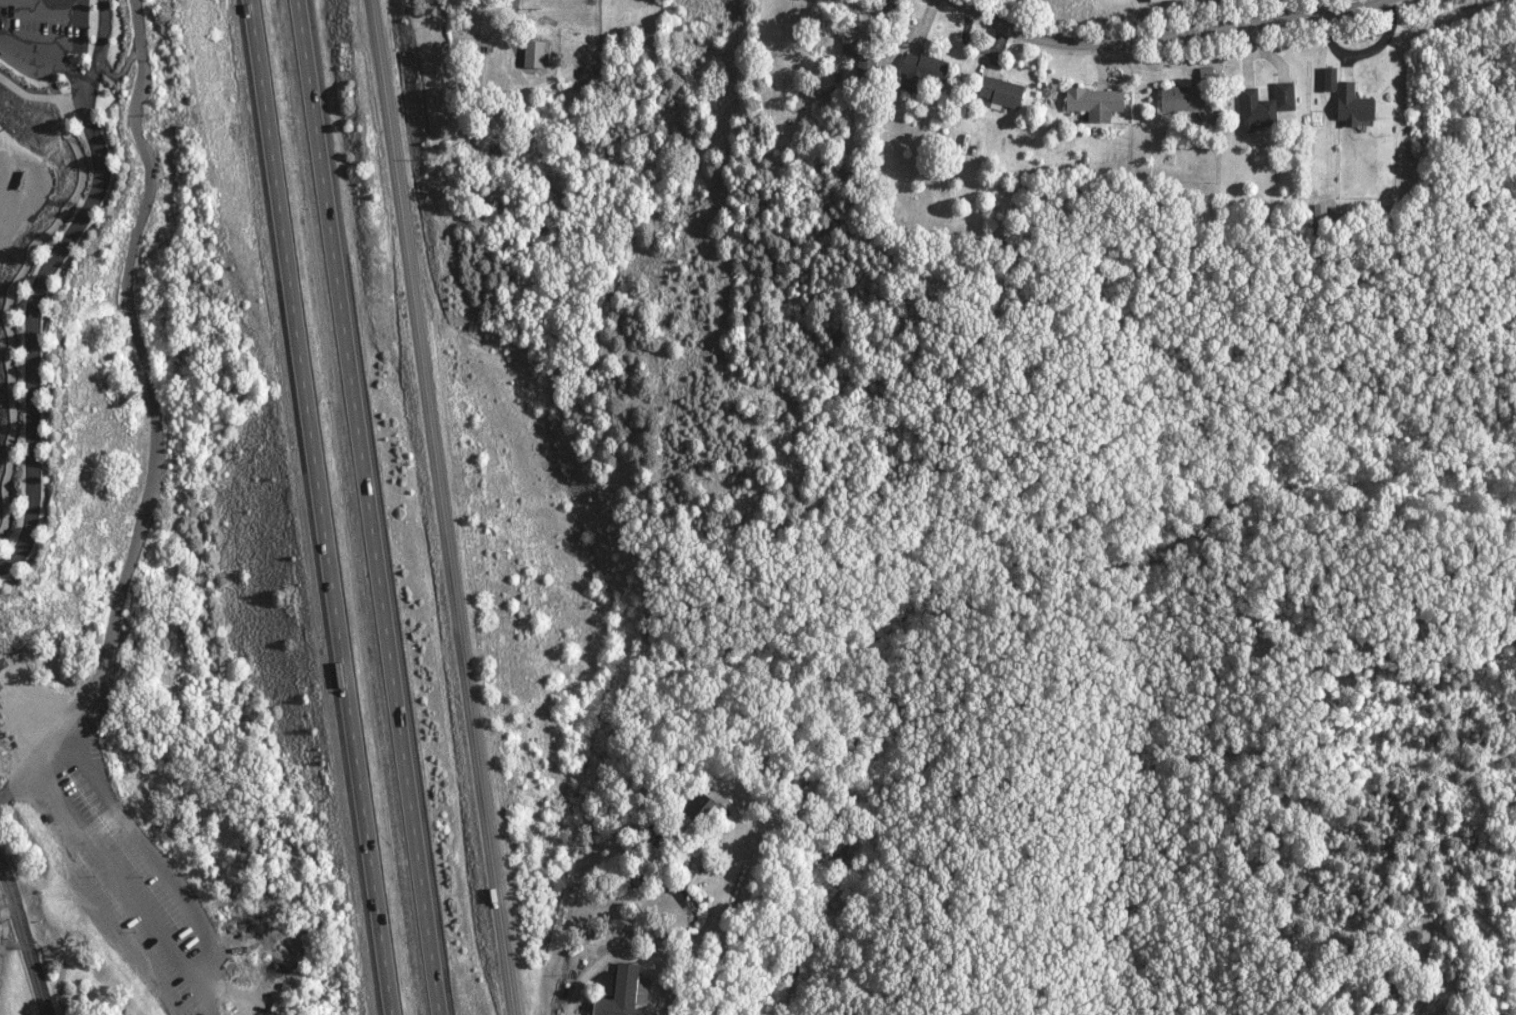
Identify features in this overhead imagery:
building: (1146, 0)
building: (844, 29)
road: (1163, 35)
building: (570, 51)
building: (529, 53)
building: (916, 67)
road: (82, 77)
building: (1323, 78)
building: (996, 92)
building: (1177, 100)
building: (1090, 102)
building: (1347, 105)
building: (1260, 106)
road: (22, 270)
road: (34, 320)
road: (365, 507)
road: (437, 507)
road: (312, 508)
building: (19, 662)
road: (53, 732)
road: (14, 783)
building: (690, 808)
road: (716, 901)
road: (3, 918)
road: (27, 941)
road: (202, 946)
road: (1, 949)
road: (620, 953)
road: (59, 957)
building: (637, 987)
building: (614, 993)

